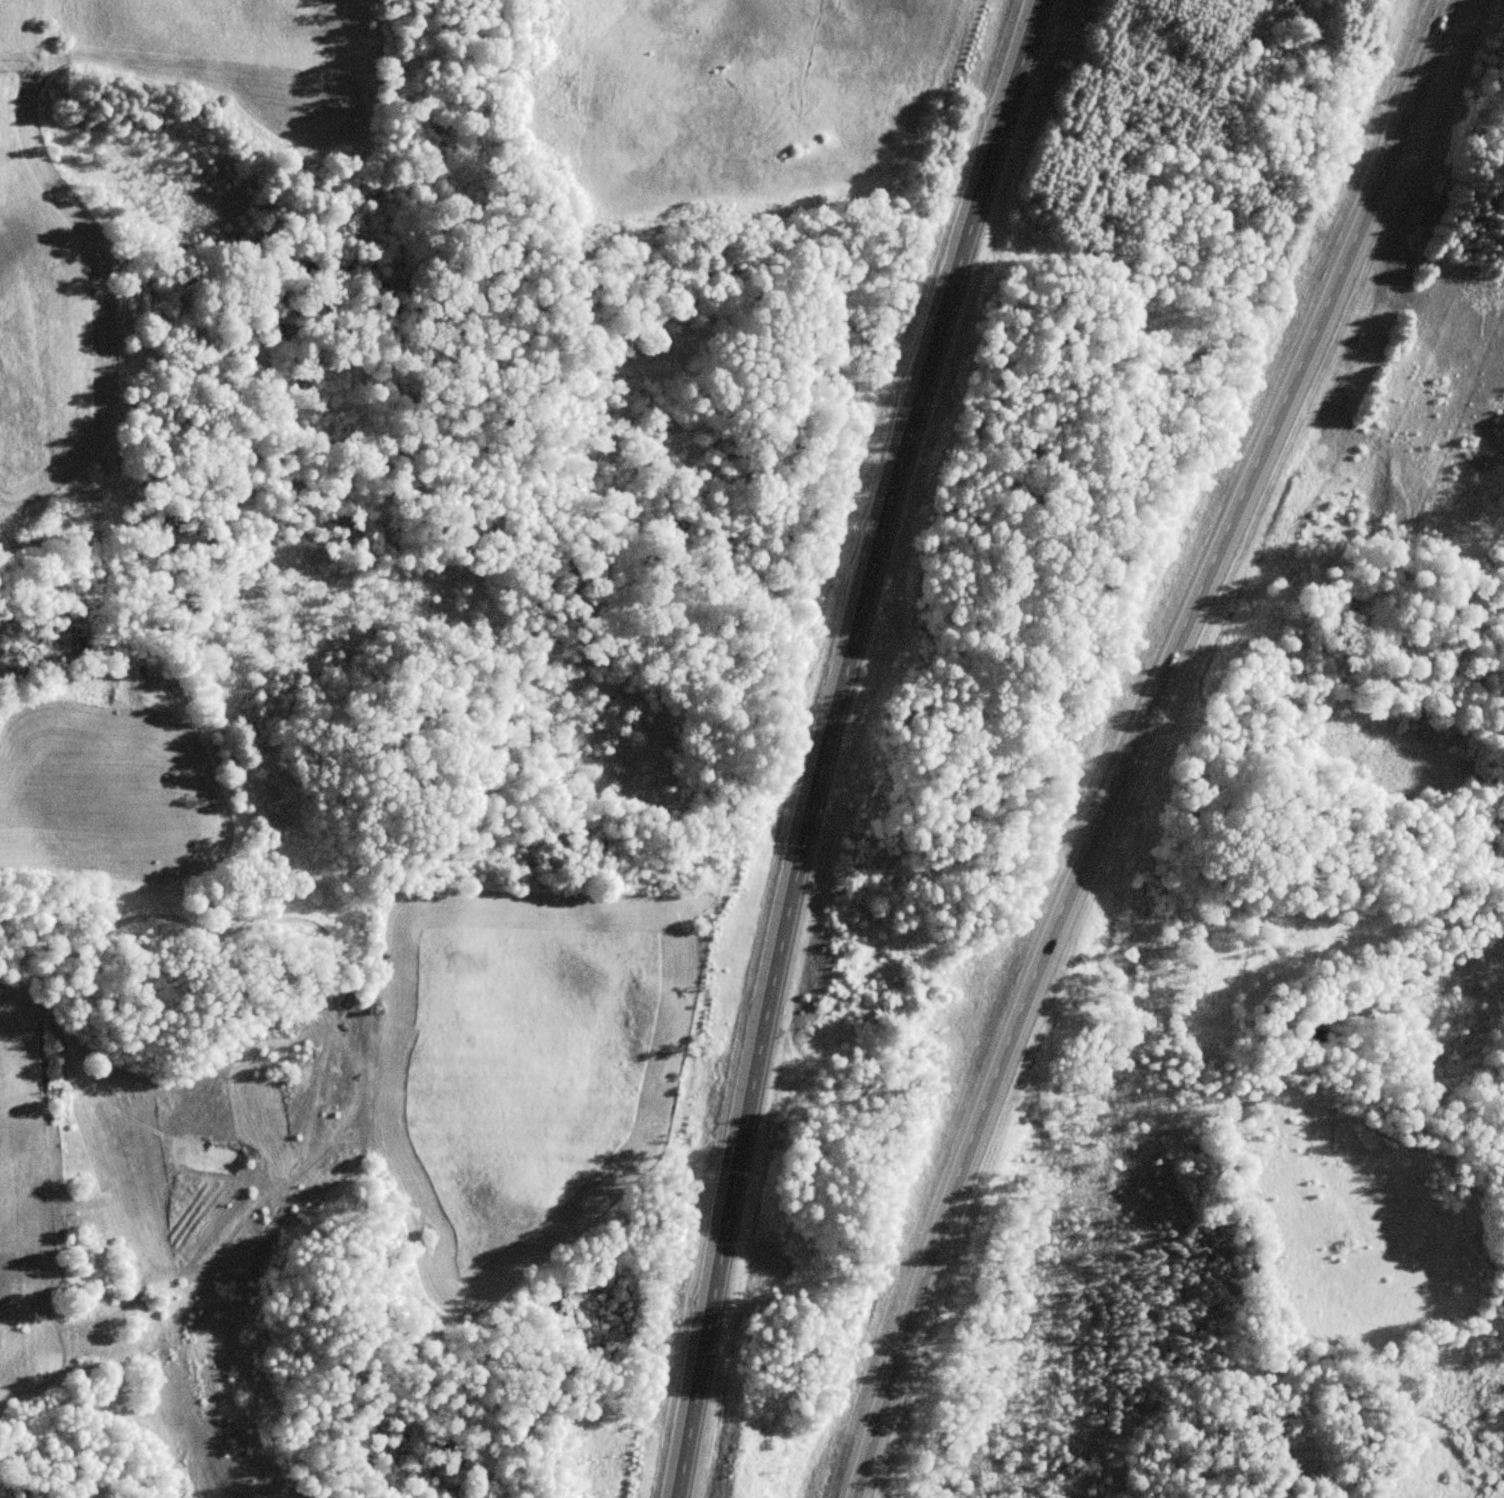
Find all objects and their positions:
road: (1130, 740)
road: (826, 741)

